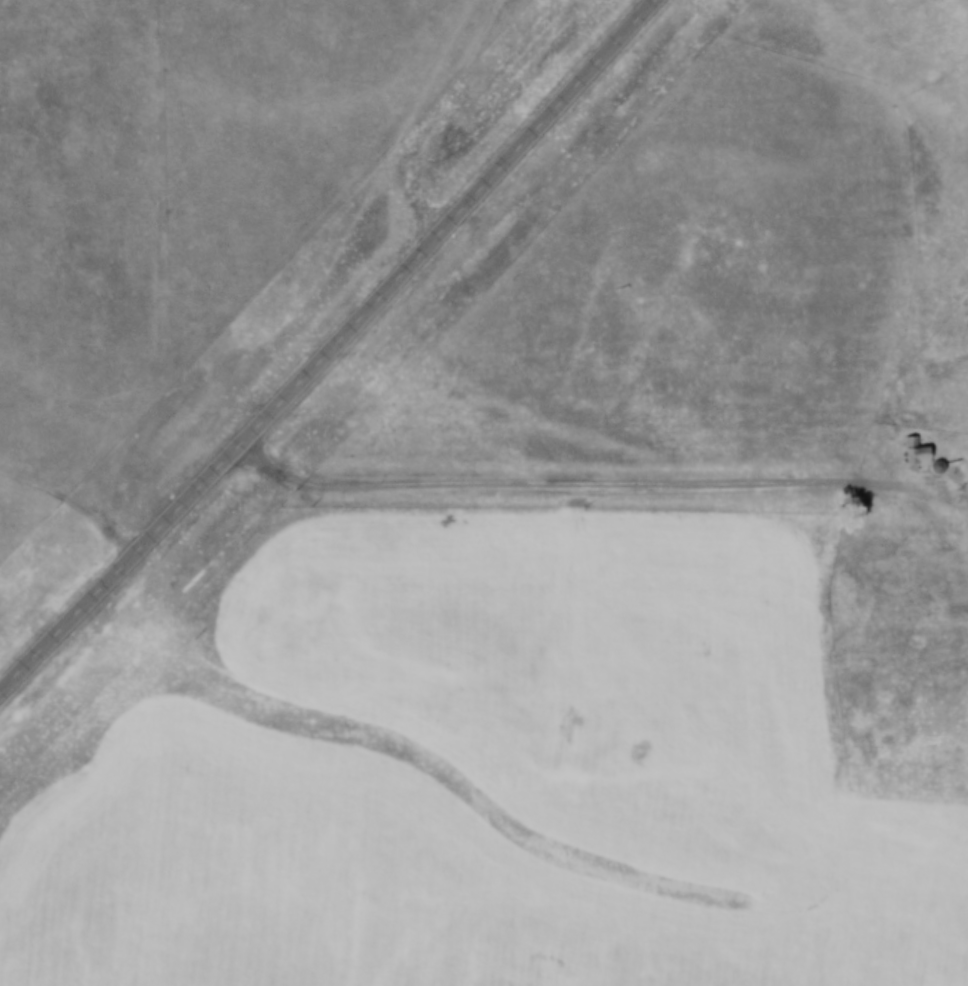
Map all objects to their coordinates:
road: (330, 350)
building: (909, 452)

